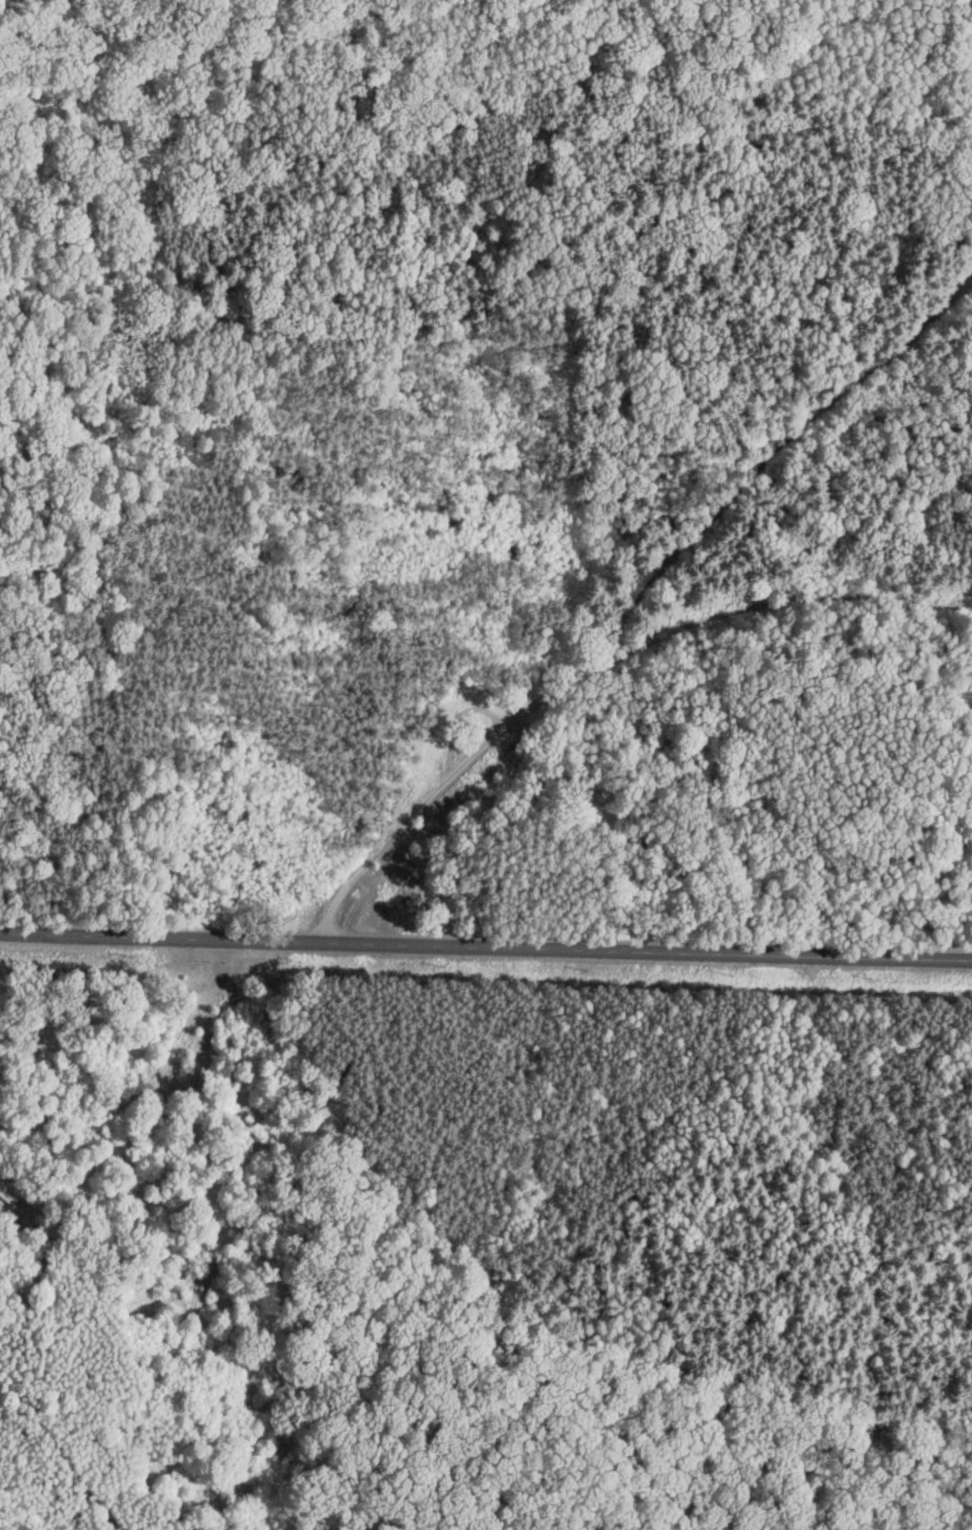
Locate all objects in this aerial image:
road: (432, 353)
road: (671, 575)
road: (783, 604)
road: (441, 782)
road: (485, 946)
road: (136, 1001)
building: (9, 1191)
road: (805, 1435)

